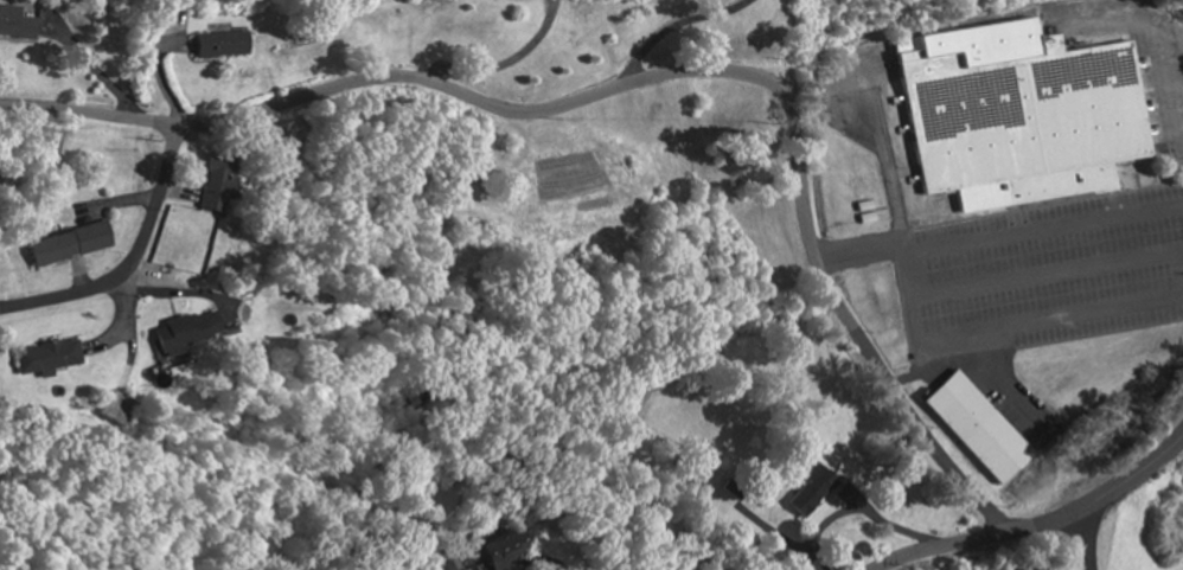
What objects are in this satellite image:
building: (23, 25)
building: (237, 46)
road: (728, 69)
building: (1024, 115)
road: (90, 117)
building: (224, 185)
road: (1003, 236)
building: (76, 245)
road: (129, 261)
building: (194, 333)
building: (56, 358)
building: (981, 428)
building: (810, 491)
road: (1102, 494)
road: (1082, 540)
road: (941, 546)
building: (499, 550)
building: (1031, 568)

